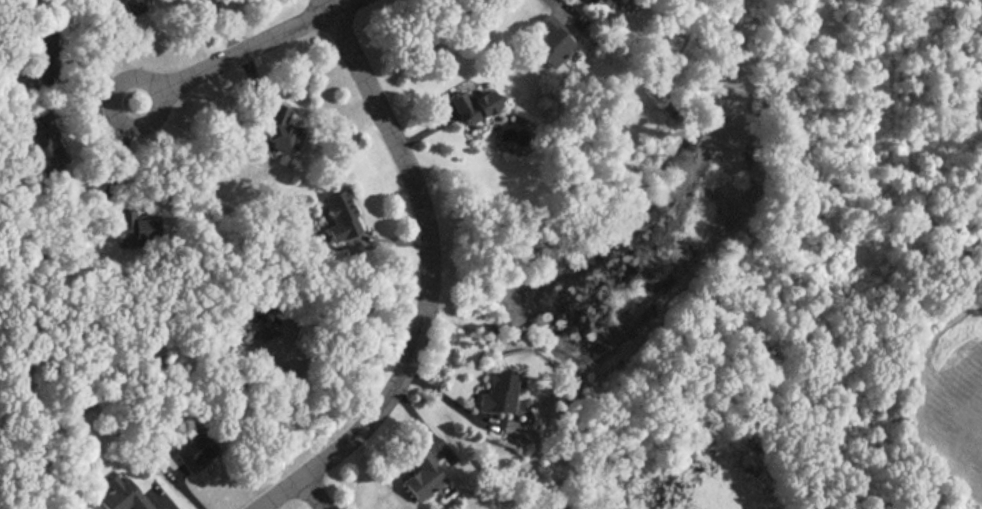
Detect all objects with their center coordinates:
building: (610, 2)
road: (328, 5)
building: (133, 6)
road: (558, 7)
building: (549, 42)
road: (242, 50)
building: (474, 105)
building: (281, 130)
building: (46, 149)
road: (118, 162)
building: (340, 216)
building: (134, 227)
road: (422, 282)
building: (497, 393)
building: (193, 451)
building: (423, 476)
road: (314, 492)
building: (122, 495)

